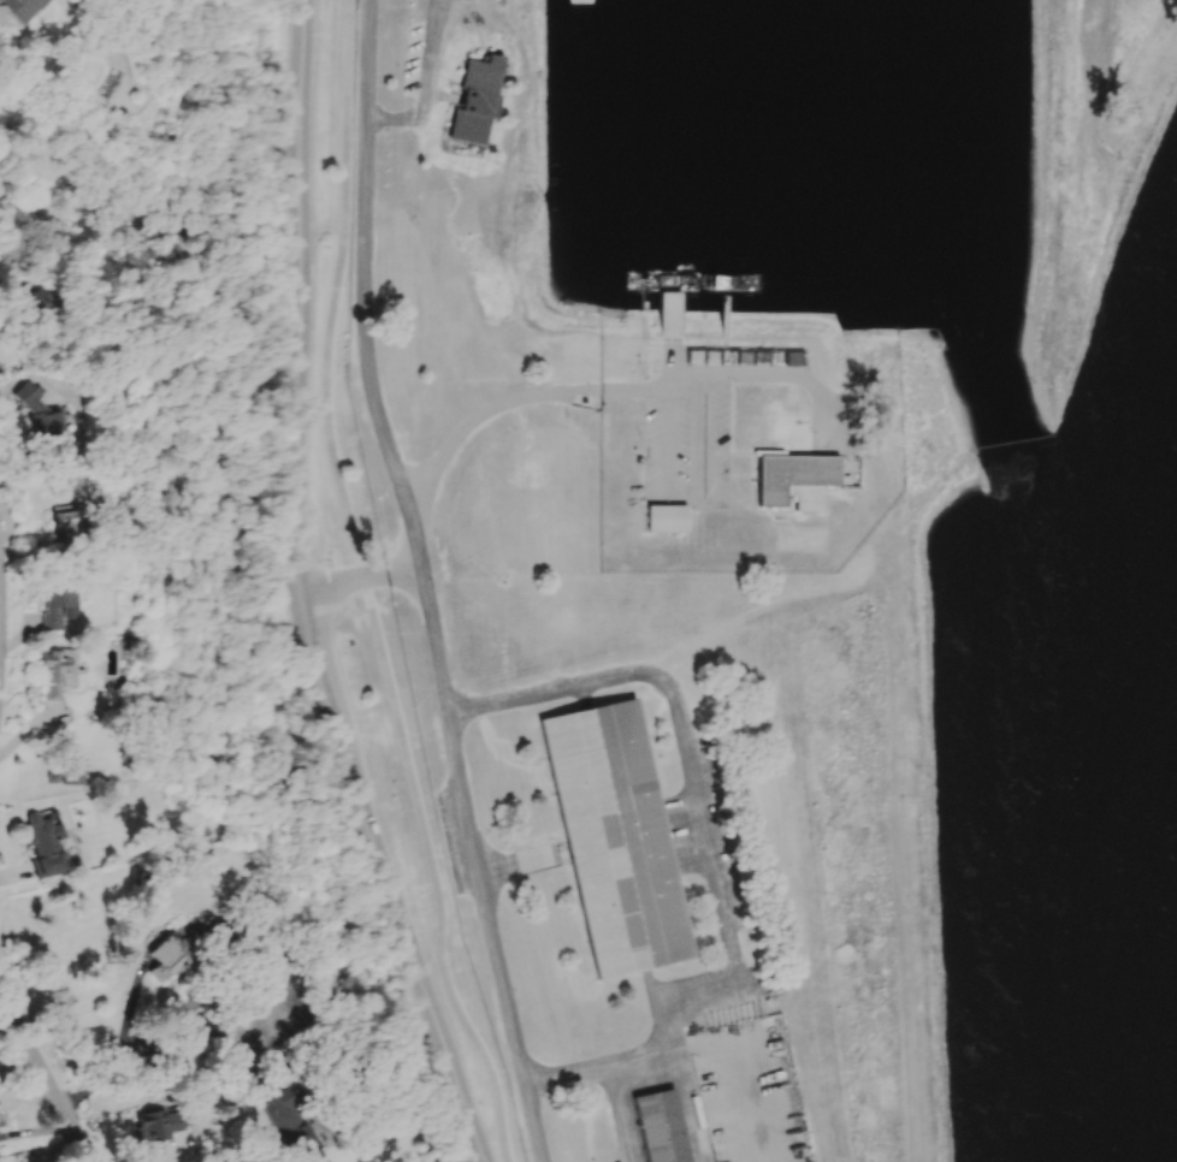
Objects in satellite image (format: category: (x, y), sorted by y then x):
building: (41, 10)
building: (859, 11)
building: (643, 16)
road: (473, 25)
road: (424, 84)
road: (1088, 87)
building: (472, 96)
pier: (668, 314)
pier: (722, 316)
road: (623, 390)
building: (55, 414)
road: (802, 419)
flagpole: (795, 420)
parking lot: (832, 421)
parking lot: (687, 441)
road: (769, 451)
road: (51, 475)
building: (794, 478)
road: (690, 486)
building: (664, 515)
building: (83, 520)
park: (797, 534)
road: (422, 582)
road: (306, 589)
road: (366, 589)
road: (762, 601)
road: (783, 735)
building: (616, 836)
road: (708, 841)
building: (43, 844)
road: (520, 856)
building: (168, 955)
road: (119, 1048)
road: (599, 1063)
road: (45, 1073)
parking lot: (747, 1092)
building: (159, 1125)
building: (291, 1125)
building: (660, 1127)
building: (0, 1134)
road: (258, 1151)
road: (483, 1157)

